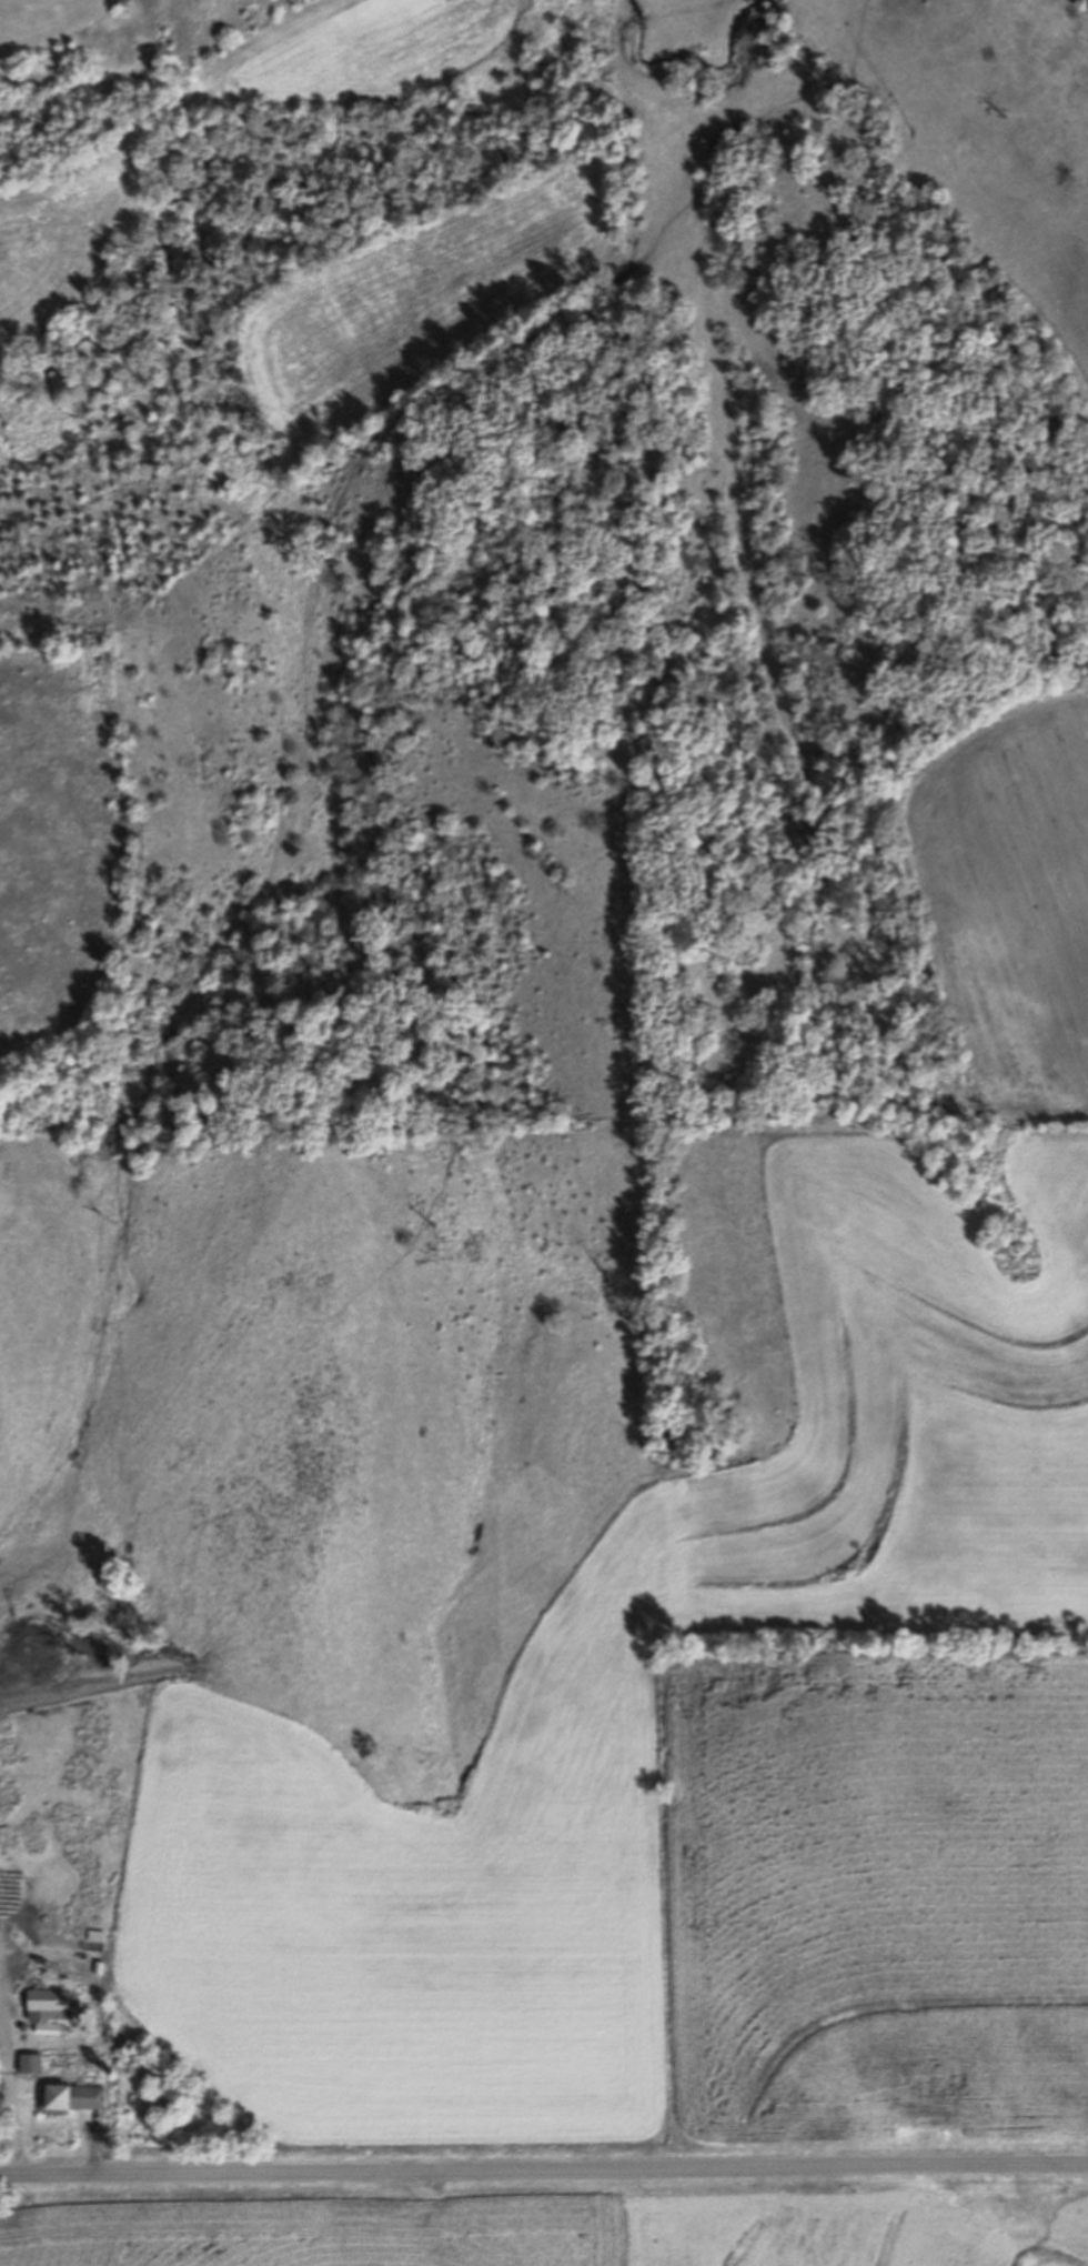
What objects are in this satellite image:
building: (49, 2003)
building: (31, 2063)
building: (72, 2098)
road: (544, 2158)

